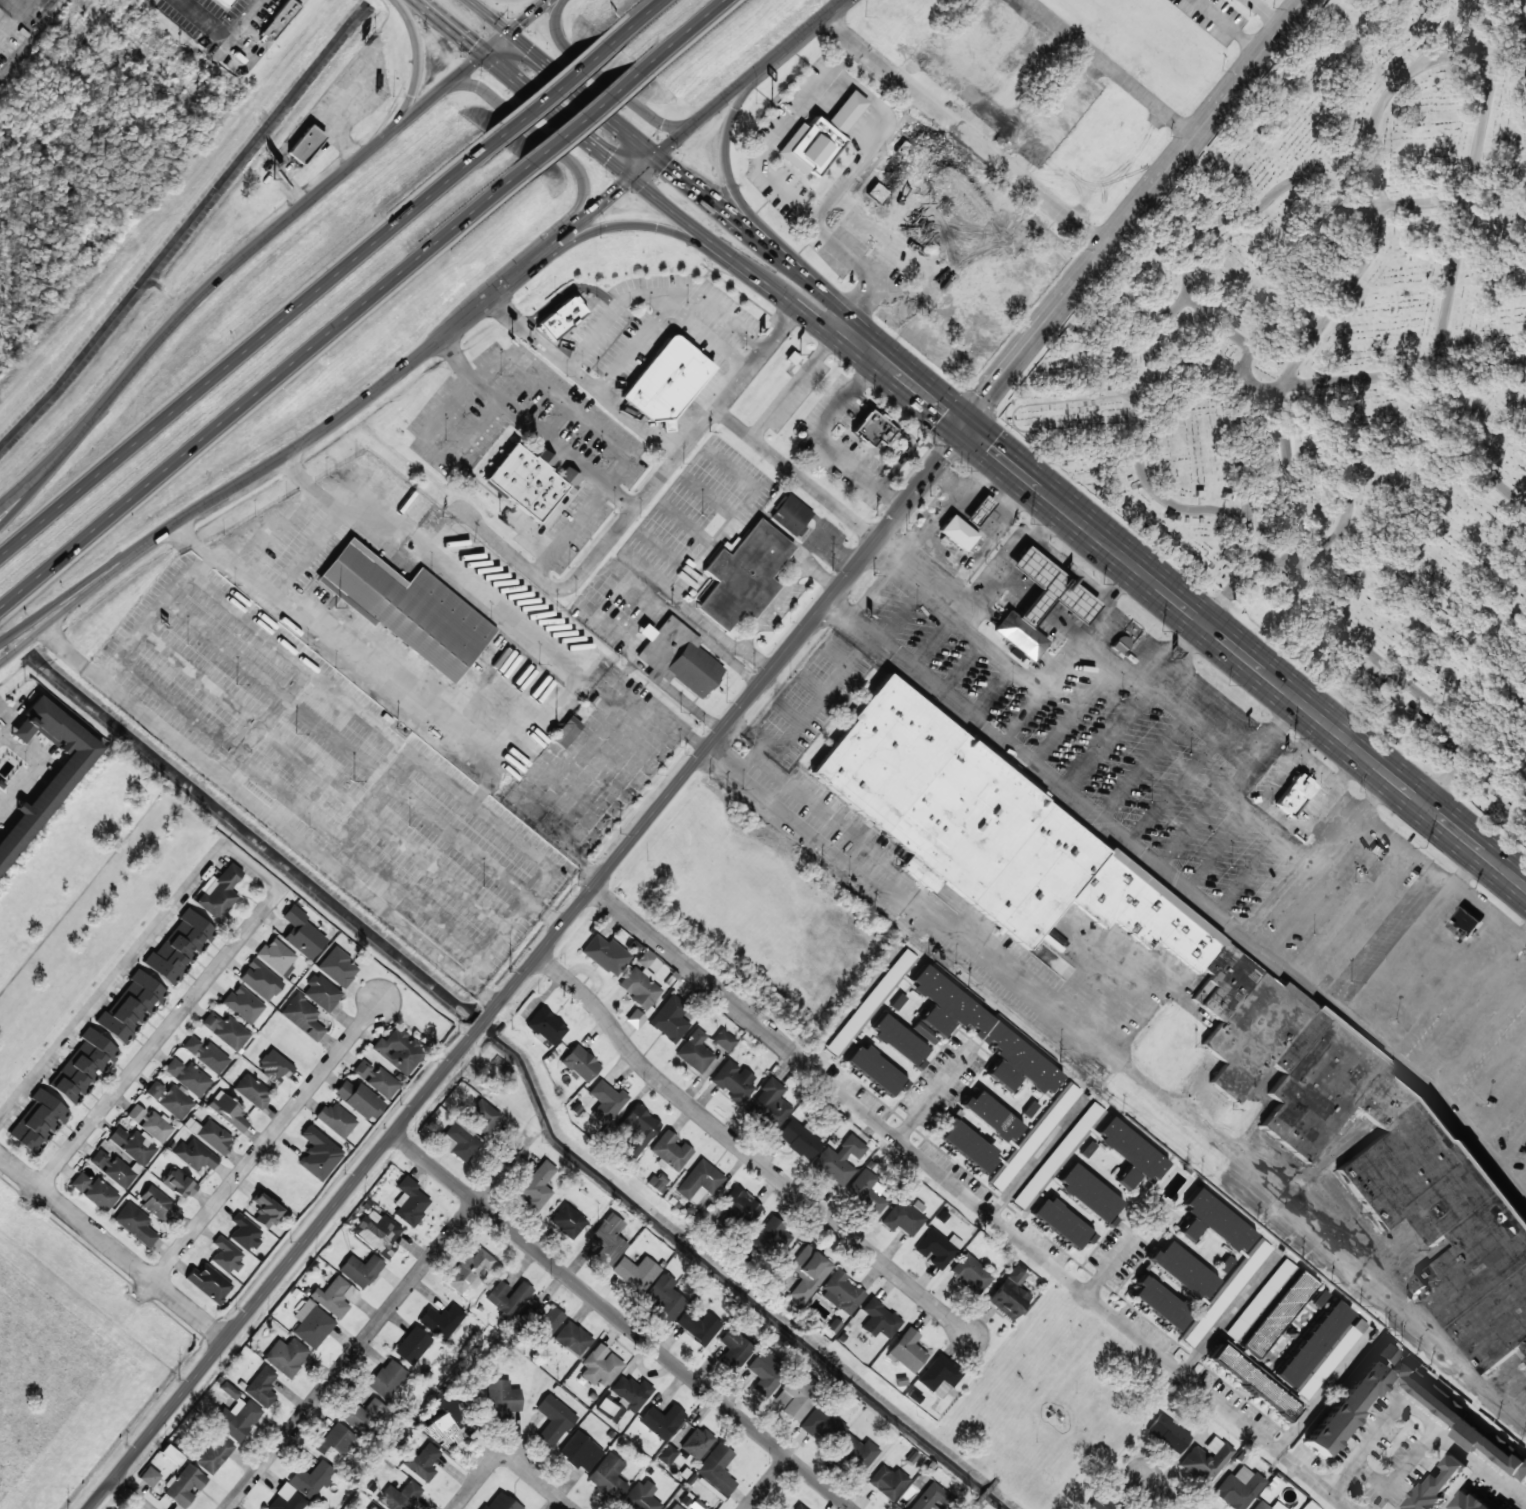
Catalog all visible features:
road: (562, 1)
building: (224, 2)
road: (488, 16)
road: (529, 16)
building: (281, 18)
road: (634, 20)
traffic signals: (520, 25)
road: (684, 34)
road: (222, 35)
road: (795, 39)
road: (496, 44)
traffic signals: (473, 48)
traffic signals: (530, 50)
road: (1459, 55)
road: (415, 59)
road: (1113, 69)
road: (603, 81)
road: (521, 88)
road: (737, 88)
road: (551, 89)
road: (743, 93)
building: (969, 95)
road: (1483, 109)
road: (584, 118)
road: (688, 126)
road: (1370, 127)
road: (622, 130)
road: (965, 133)
building: (819, 138)
road: (546, 139)
building: (306, 145)
traffic signals: (607, 161)
traffic signals: (667, 166)
road: (763, 169)
road: (726, 173)
building: (920, 183)
road: (1008, 186)
traffic signals: (619, 190)
road: (1496, 194)
road: (609, 197)
road: (659, 203)
road: (622, 226)
road: (698, 234)
road: (696, 239)
road: (248, 257)
road: (785, 260)
road: (741, 267)
road: (520, 268)
road: (1027, 282)
road: (793, 305)
road: (835, 312)
building: (561, 317)
road: (826, 323)
road: (1440, 329)
road: (246, 342)
park: (1332, 376)
building: (666, 382)
road: (263, 390)
traffic signals: (965, 427)
building: (874, 430)
road: (977, 479)
building: (525, 482)
road: (242, 487)
road: (17, 494)
road: (17, 500)
building: (977, 511)
road: (927, 513)
building: (791, 515)
building: (957, 533)
road: (985, 543)
road: (943, 547)
road: (1054, 556)
road: (992, 572)
building: (743, 576)
building: (1049, 589)
road: (871, 591)
road: (1183, 604)
building: (408, 610)
road: (44, 615)
road: (901, 617)
building: (1019, 636)
road: (930, 643)
building: (678, 659)
road: (1012, 668)
road: (961, 669)
road: (1146, 674)
road: (991, 693)
road: (1017, 714)
road: (1074, 720)
road: (1235, 726)
road: (1115, 731)
building: (565, 733)
road: (1475, 737)
road: (700, 754)
road: (1150, 759)
road: (1317, 767)
road: (1350, 767)
building: (60, 780)
road: (1178, 783)
building: (1293, 796)
road: (1242, 810)
road: (1190, 832)
road: (1118, 838)
road: (1216, 853)
road: (1470, 867)
road: (1244, 875)
road: (1443, 876)
building: (219, 893)
building: (1465, 923)
building: (302, 933)
building: (180, 947)
building: (606, 955)
building: (277, 957)
building: (645, 958)
building: (337, 967)
building: (261, 981)
road: (112, 984)
building: (321, 993)
building: (870, 1002)
building: (898, 1002)
building: (243, 1005)
building: (131, 1007)
road: (183, 1011)
building: (303, 1017)
building: (635, 1019)
building: (669, 1020)
building: (1257, 1023)
building: (545, 1027)
building: (225, 1030)
building: (925, 1033)
building: (983, 1035)
building: (724, 1041)
building: (899, 1042)
building: (398, 1051)
building: (695, 1052)
building: (206, 1055)
road: (1392, 1055)
building: (579, 1064)
building: (82, 1067)
building: (273, 1067)
road: (1128, 1069)
building: (876, 1071)
building: (188, 1077)
building: (376, 1079)
building: (734, 1082)
building: (253, 1091)
building: (170, 1100)
building: (359, 1100)
building: (606, 1102)
building: (770, 1104)
building: (228, 1111)
building: (483, 1116)
building: (990, 1116)
building: (335, 1120)
building: (37, 1121)
building: (150, 1123)
building: (637, 1131)
building: (213, 1136)
building: (1035, 1137)
building: (799, 1140)
road: (268, 1141)
building: (459, 1142)
building: (133, 1145)
building: (967, 1146)
building: (671, 1150)
building: (318, 1154)
road: (738, 1154)
building: (195, 1155)
building: (1057, 1155)
building: (1131, 1155)
building: (839, 1160)
building: (112, 1169)
building: (656, 1182)
building: (179, 1184)
building: (537, 1186)
building: (95, 1192)
building: (865, 1192)
building: (1089, 1194)
road: (971, 1198)
building: (410, 1202)
building: (157, 1203)
building: (740, 1206)
building: (265, 1210)
building: (904, 1217)
building: (568, 1222)
building: (1213, 1222)
building: (135, 1224)
building: (1062, 1224)
building: (377, 1232)
building: (244, 1233)
building: (770, 1237)
building: (608, 1241)
road: (112, 1248)
building: (937, 1249)
building: (226, 1256)
building: (360, 1271)
building: (470, 1271)
building: (1183, 1271)
building: (635, 1273)
building: (807, 1273)
building: (971, 1274)
building: (209, 1283)
building: (842, 1293)
building: (1225, 1293)
building: (1009, 1294)
building: (335, 1297)
building: (508, 1297)
building: (665, 1299)
building: (1260, 1300)
building: (1159, 1303)
building: (1277, 1315)
building: (879, 1320)
road: (380, 1321)
building: (441, 1321)
building: (549, 1321)
road: (622, 1321)
building: (312, 1324)
building: (698, 1326)
building: (573, 1339)
building: (412, 1346)
building: (734, 1349)
building: (1319, 1350)
building: (907, 1351)
building: (286, 1356)
road: (277, 1363)
building: (600, 1366)
building: (939, 1374)
building: (763, 1377)
building: (387, 1379)
building: (1252, 1383)
building: (262, 1387)
building: (229, 1391)
building: (631, 1393)
building: (914, 1396)
building: (503, 1397)
building: (797, 1397)
building: (1350, 1401)
park: (1055, 1404)
building: (610, 1410)
road: (1418, 1414)
building: (362, 1416)
building: (239, 1419)
building: (553, 1420)
building: (662, 1421)
building: (1459, 1421)
building: (822, 1423)
building: (1168, 1434)
building: (334, 1443)
building: (697, 1444)
building: (580, 1452)
building: (856, 1453)
building: (214, 1454)
building: (667, 1455)
building: (1206, 1461)
building: (422, 1463)
road: (1479, 1464)
building: (716, 1471)
building: (149, 1477)
building: (607, 1477)
building: (311, 1480)
road: (479, 1480)
road: (536, 1480)
building: (888, 1482)
road: (769, 1483)
building: (185, 1486)
building: (1436, 1486)
building: (1238, 1488)
road: (130, 1494)
road: (1161, 1494)
building: (400, 1496)
building: (930, 1497)
building: (640, 1499)
building: (288, 1502)
building: (500, 1502)
building: (1468, 1502)
building: (1099, 1504)
building: (1260, 1504)
building: (676, 1506)
building: (372, 1507)
building: (797, 1507)
road: (975, 1507)

